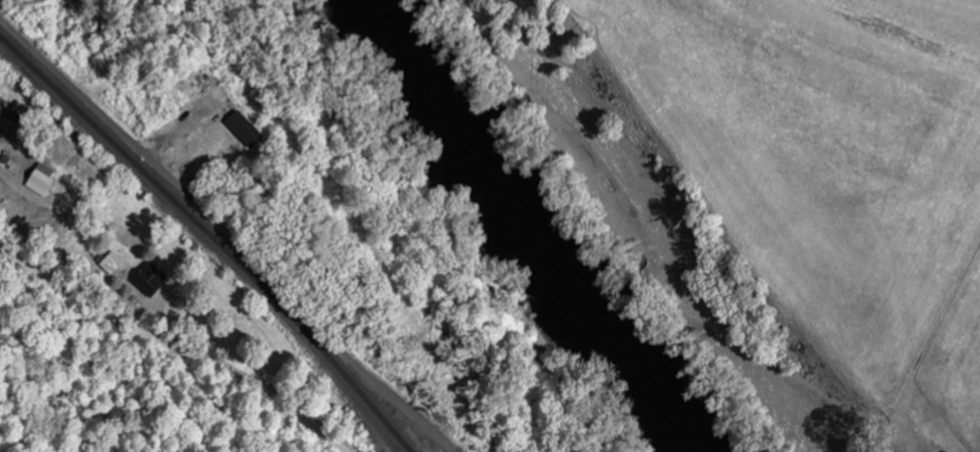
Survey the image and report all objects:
building: (245, 130)
road: (4, 174)
building: (41, 180)
river: (527, 228)
road: (226, 235)
railway: (211, 239)
building: (150, 280)
road: (178, 336)

